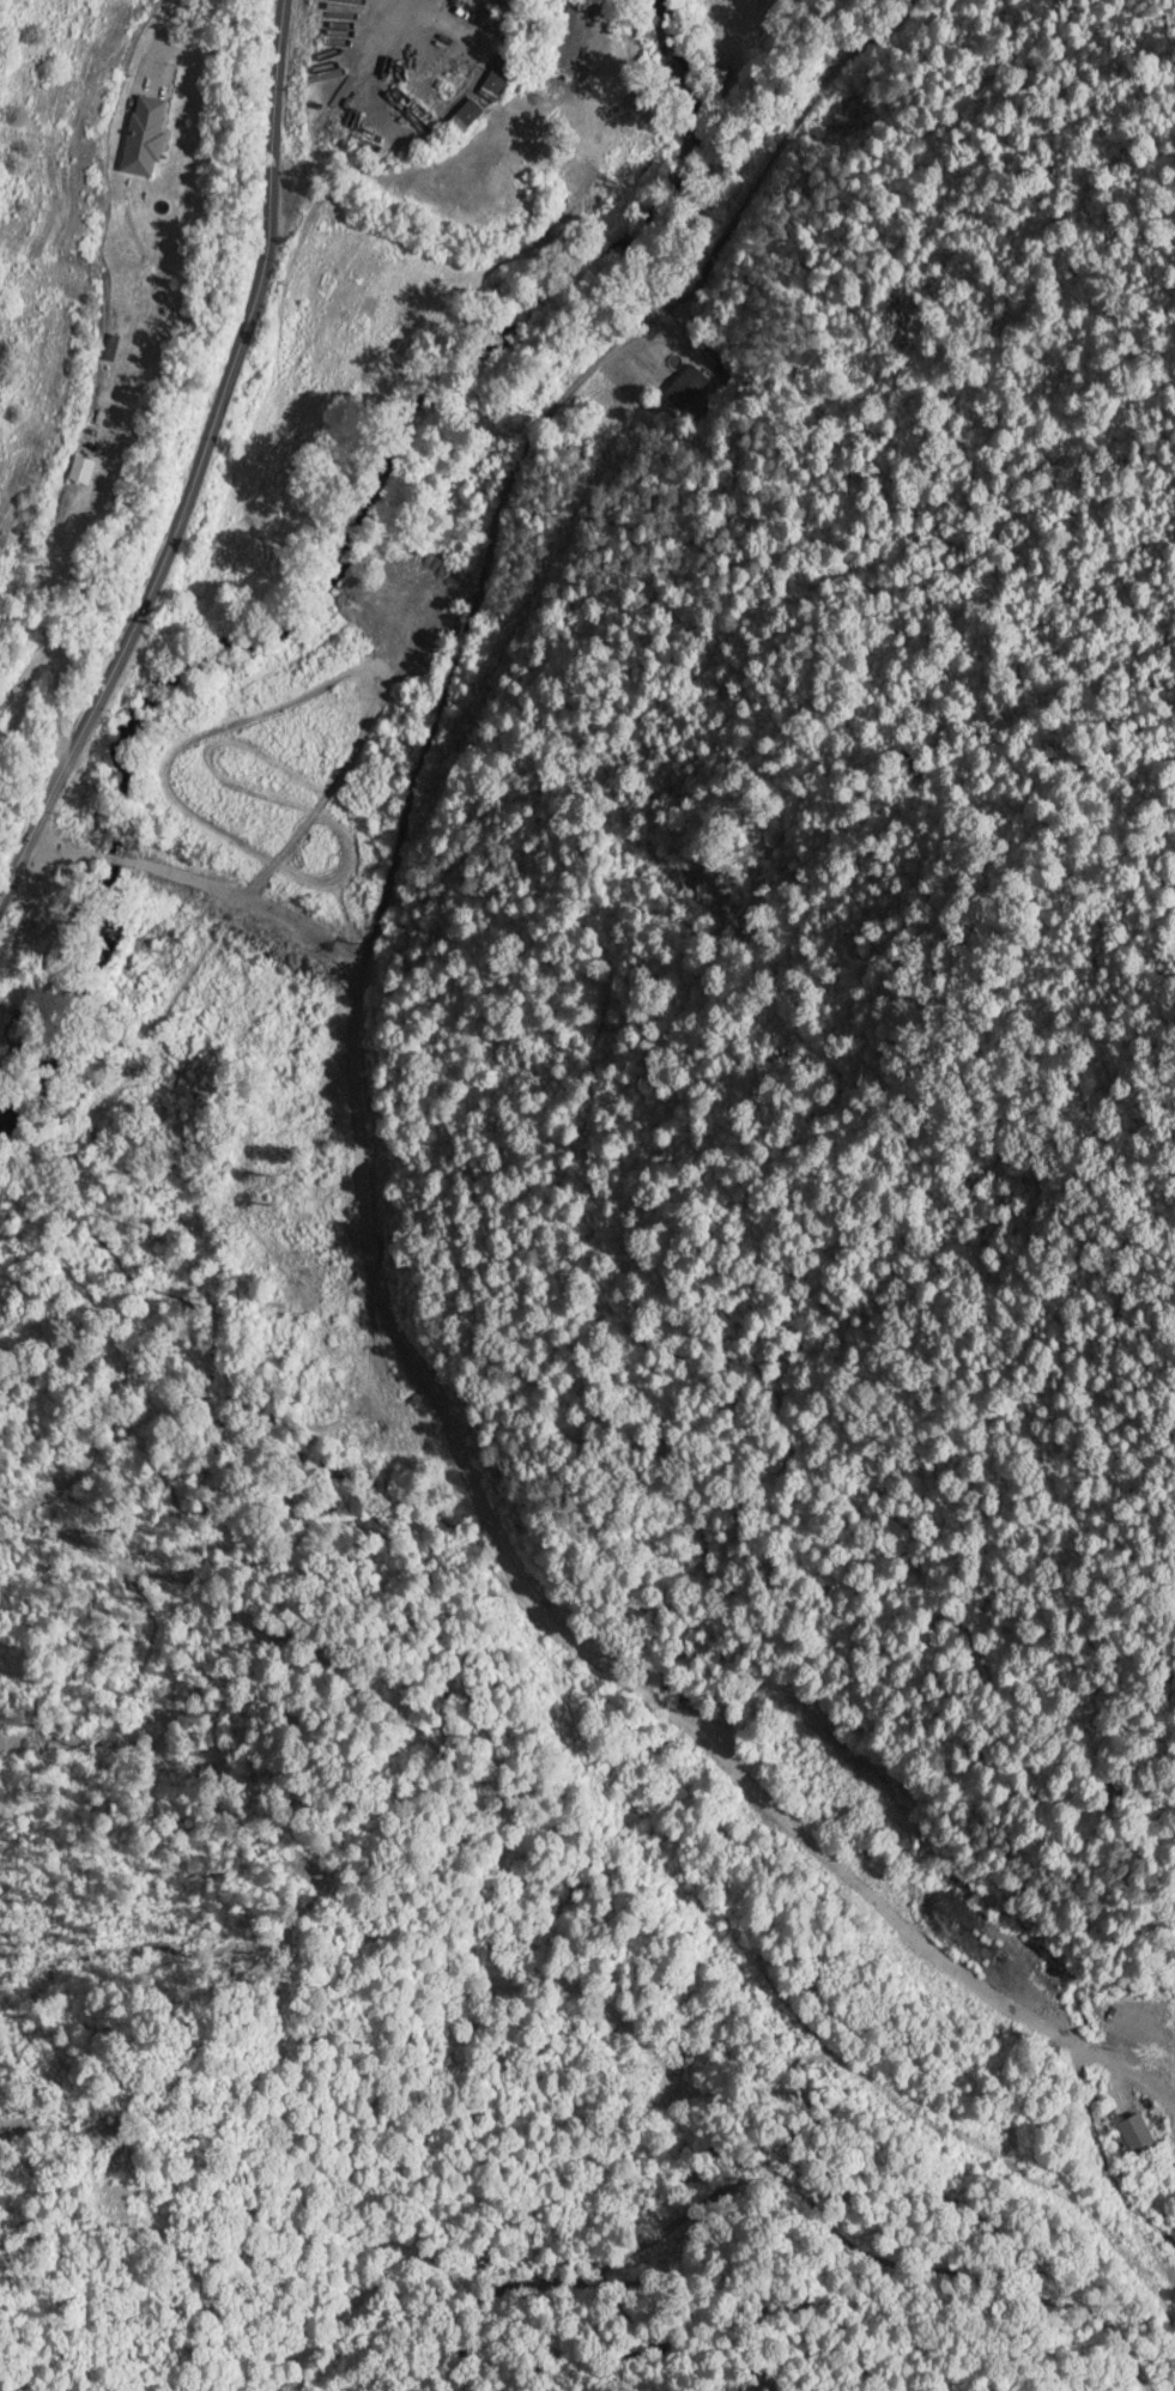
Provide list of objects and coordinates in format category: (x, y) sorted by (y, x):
road: (193, 426)
road: (20, 539)
road: (222, 818)
road: (252, 1436)

